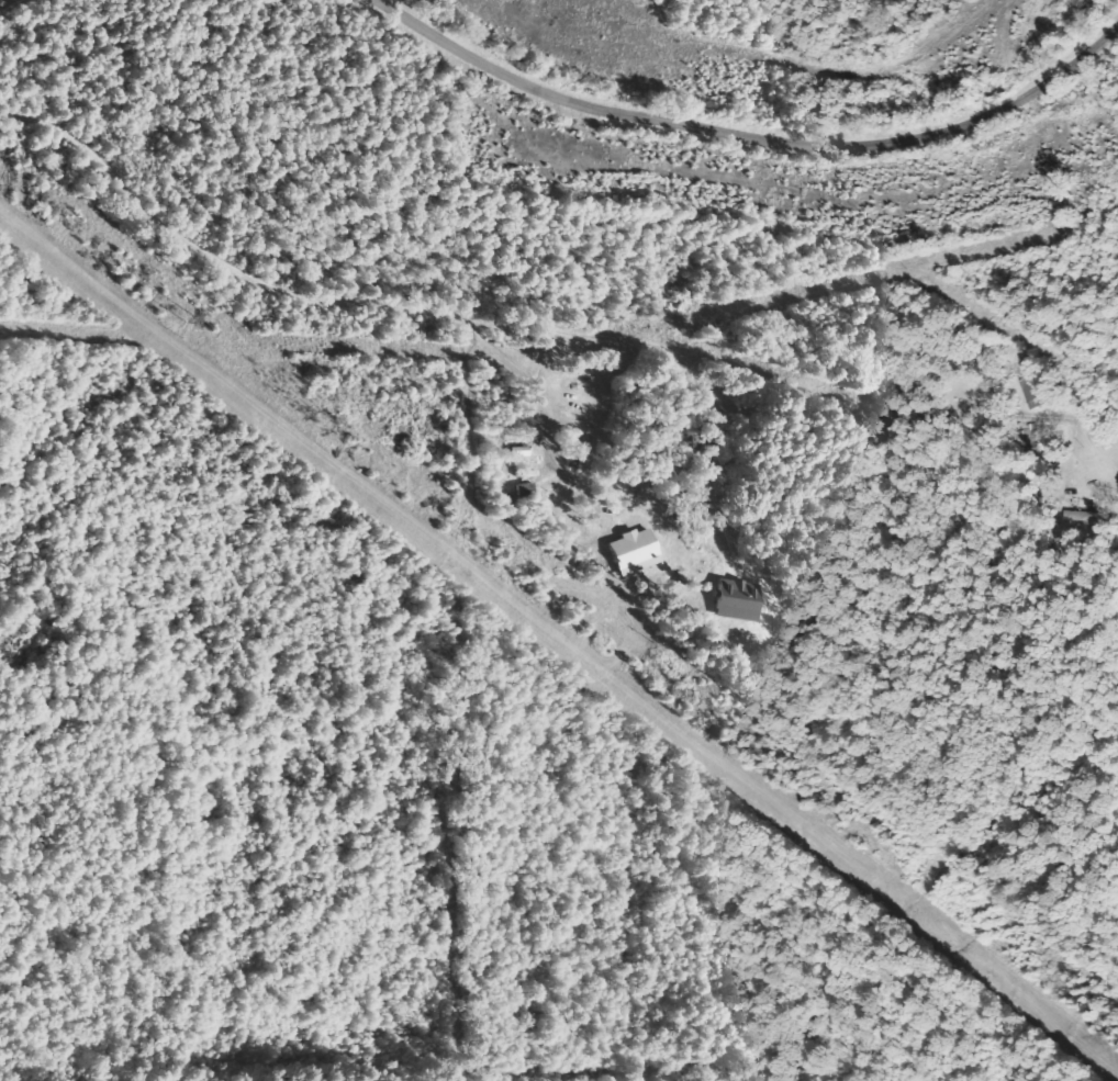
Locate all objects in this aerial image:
road: (7, 3)
road: (399, 14)
road: (775, 138)
road: (510, 322)
power tower: (206, 323)
building: (1037, 392)
power tower: (481, 547)
building: (633, 552)
building: (739, 600)
power tower: (764, 765)

